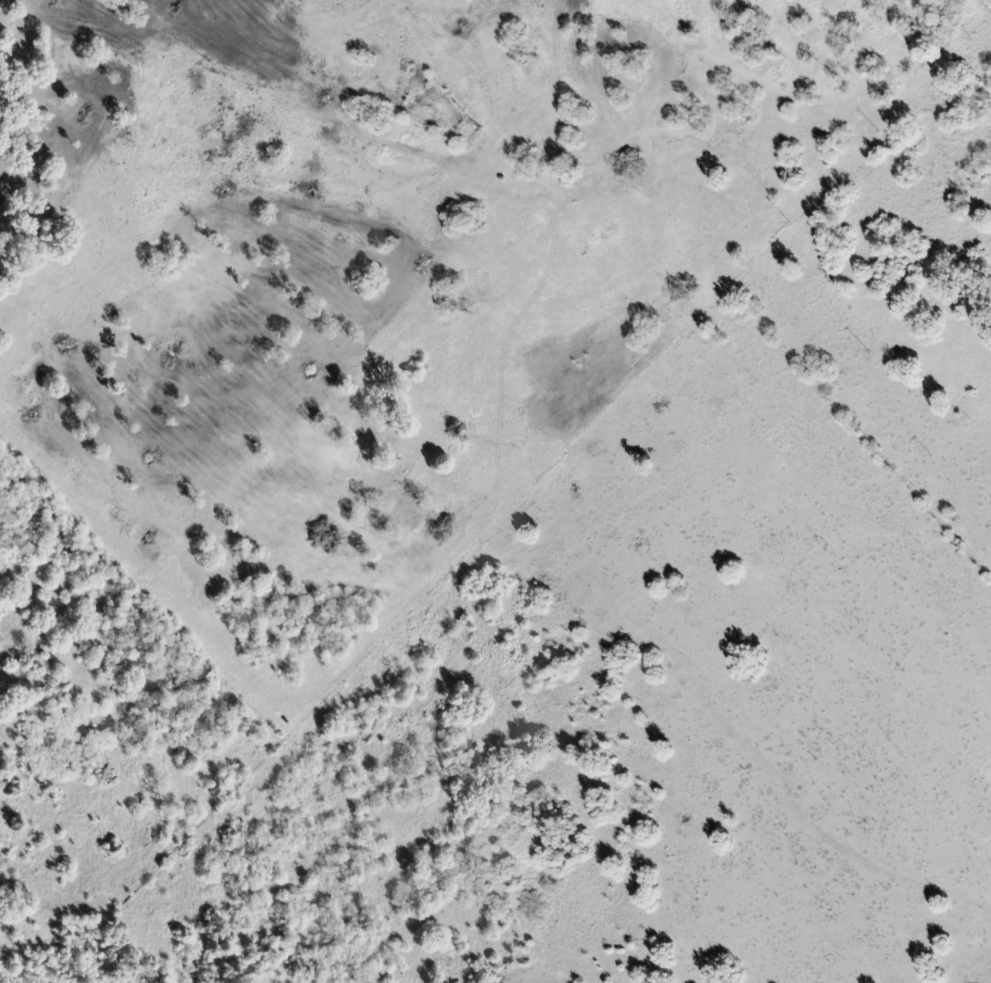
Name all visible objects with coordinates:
road: (634, 180)

